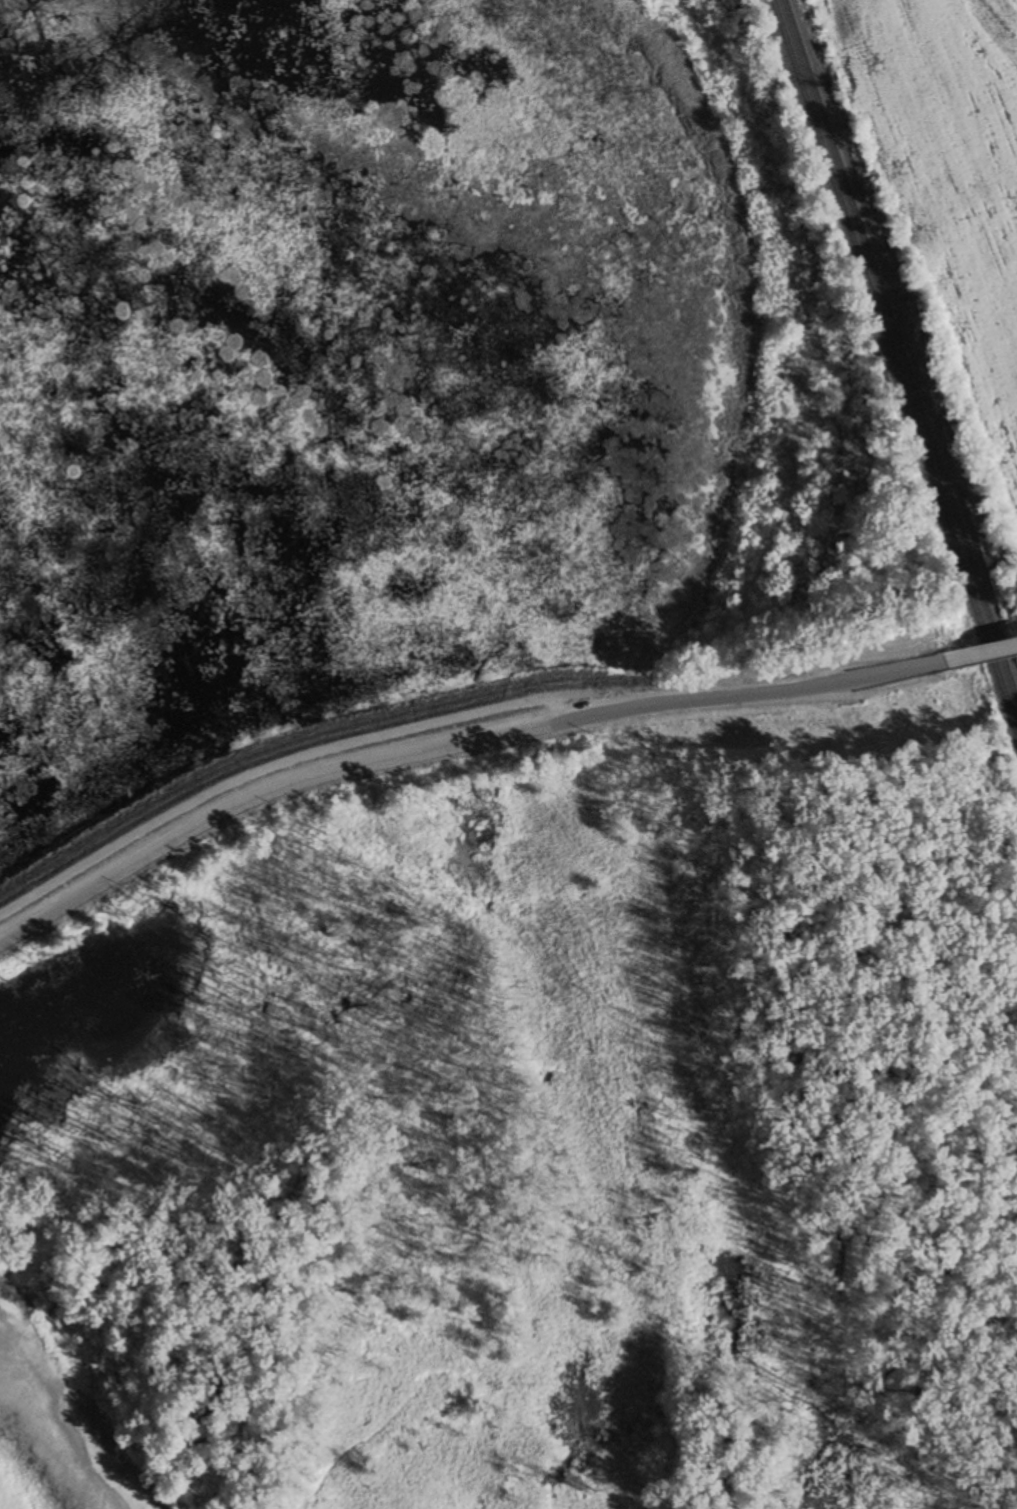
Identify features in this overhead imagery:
crop: (948, 191)
railway: (899, 347)
railway: (893, 365)
road: (982, 655)
road: (456, 750)
road: (279, 772)
park: (216, 848)

